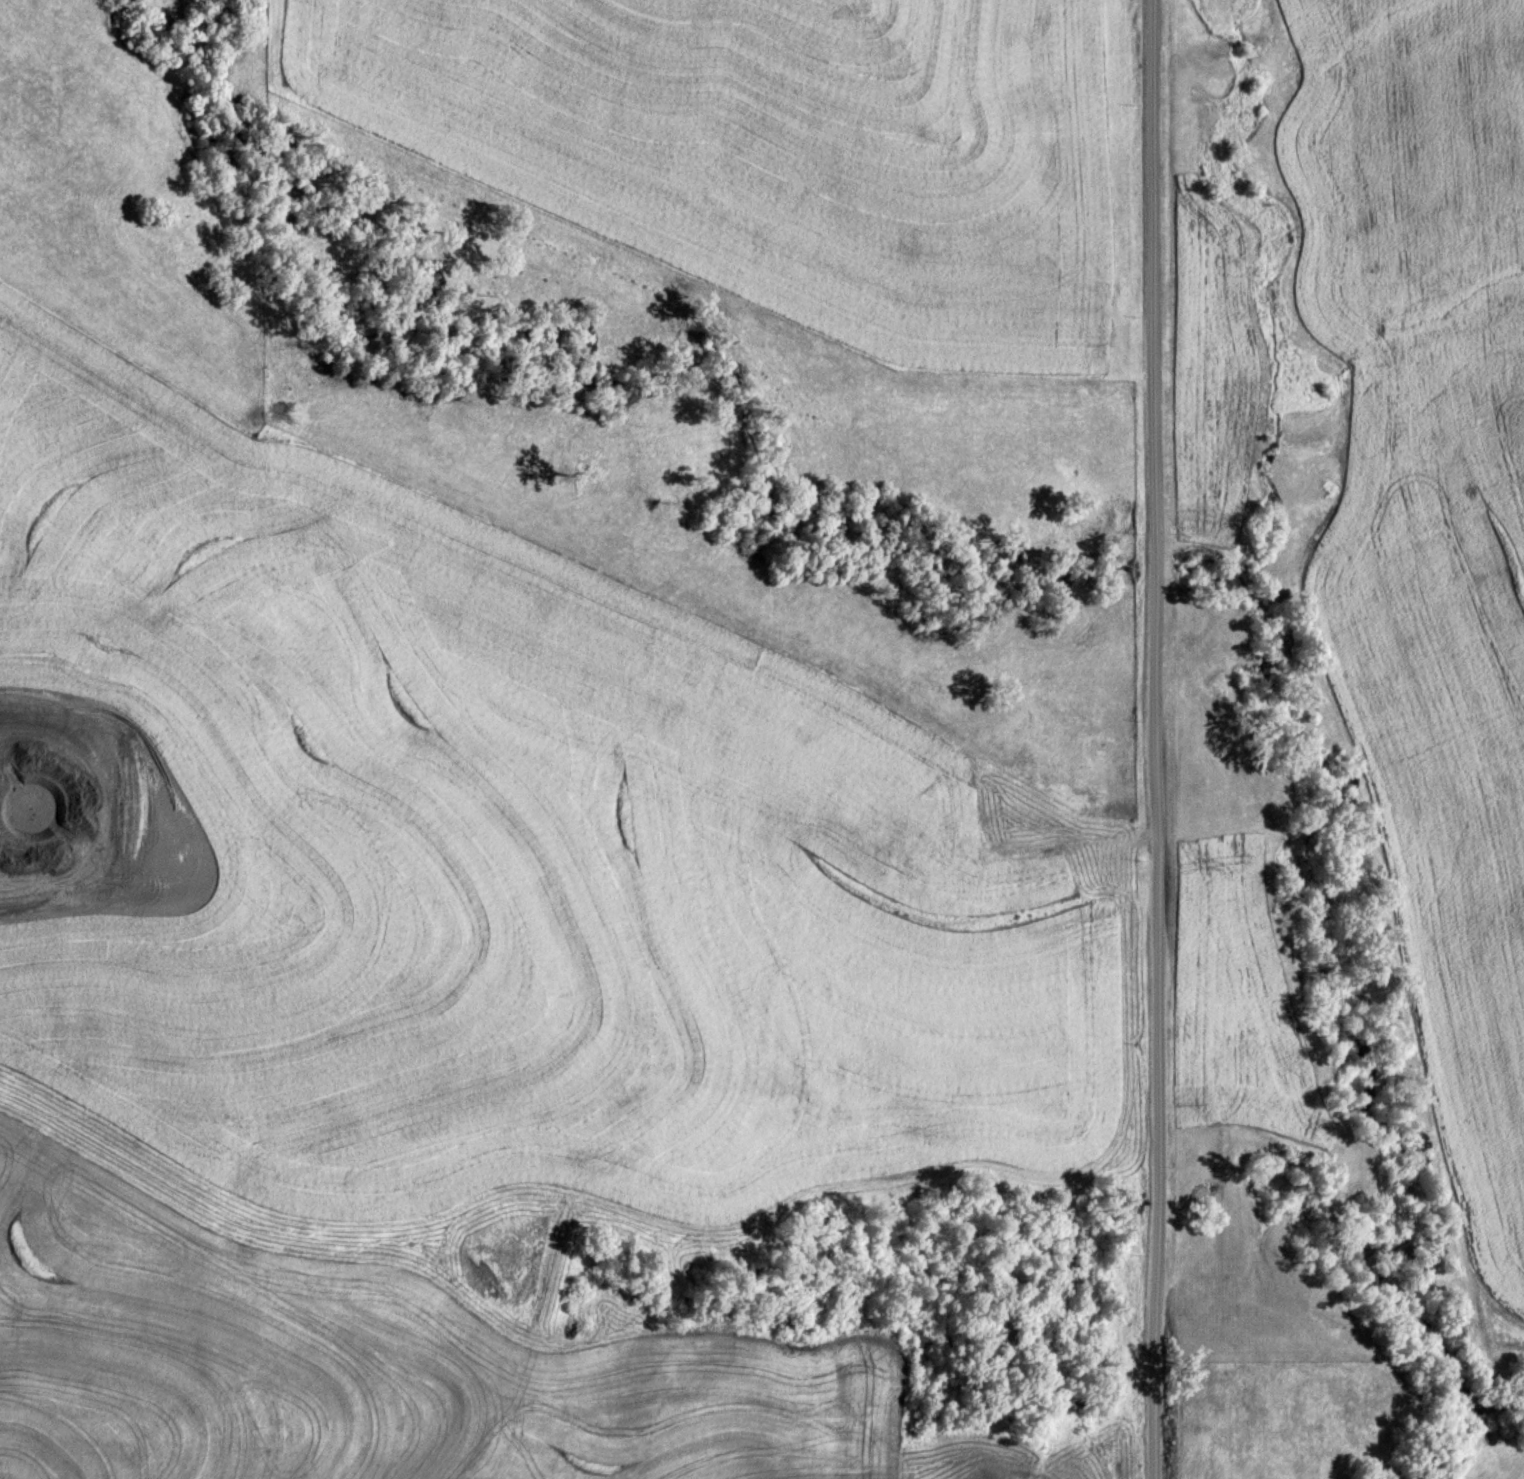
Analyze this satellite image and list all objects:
road: (1162, 739)
wind turbine: (33, 809)

